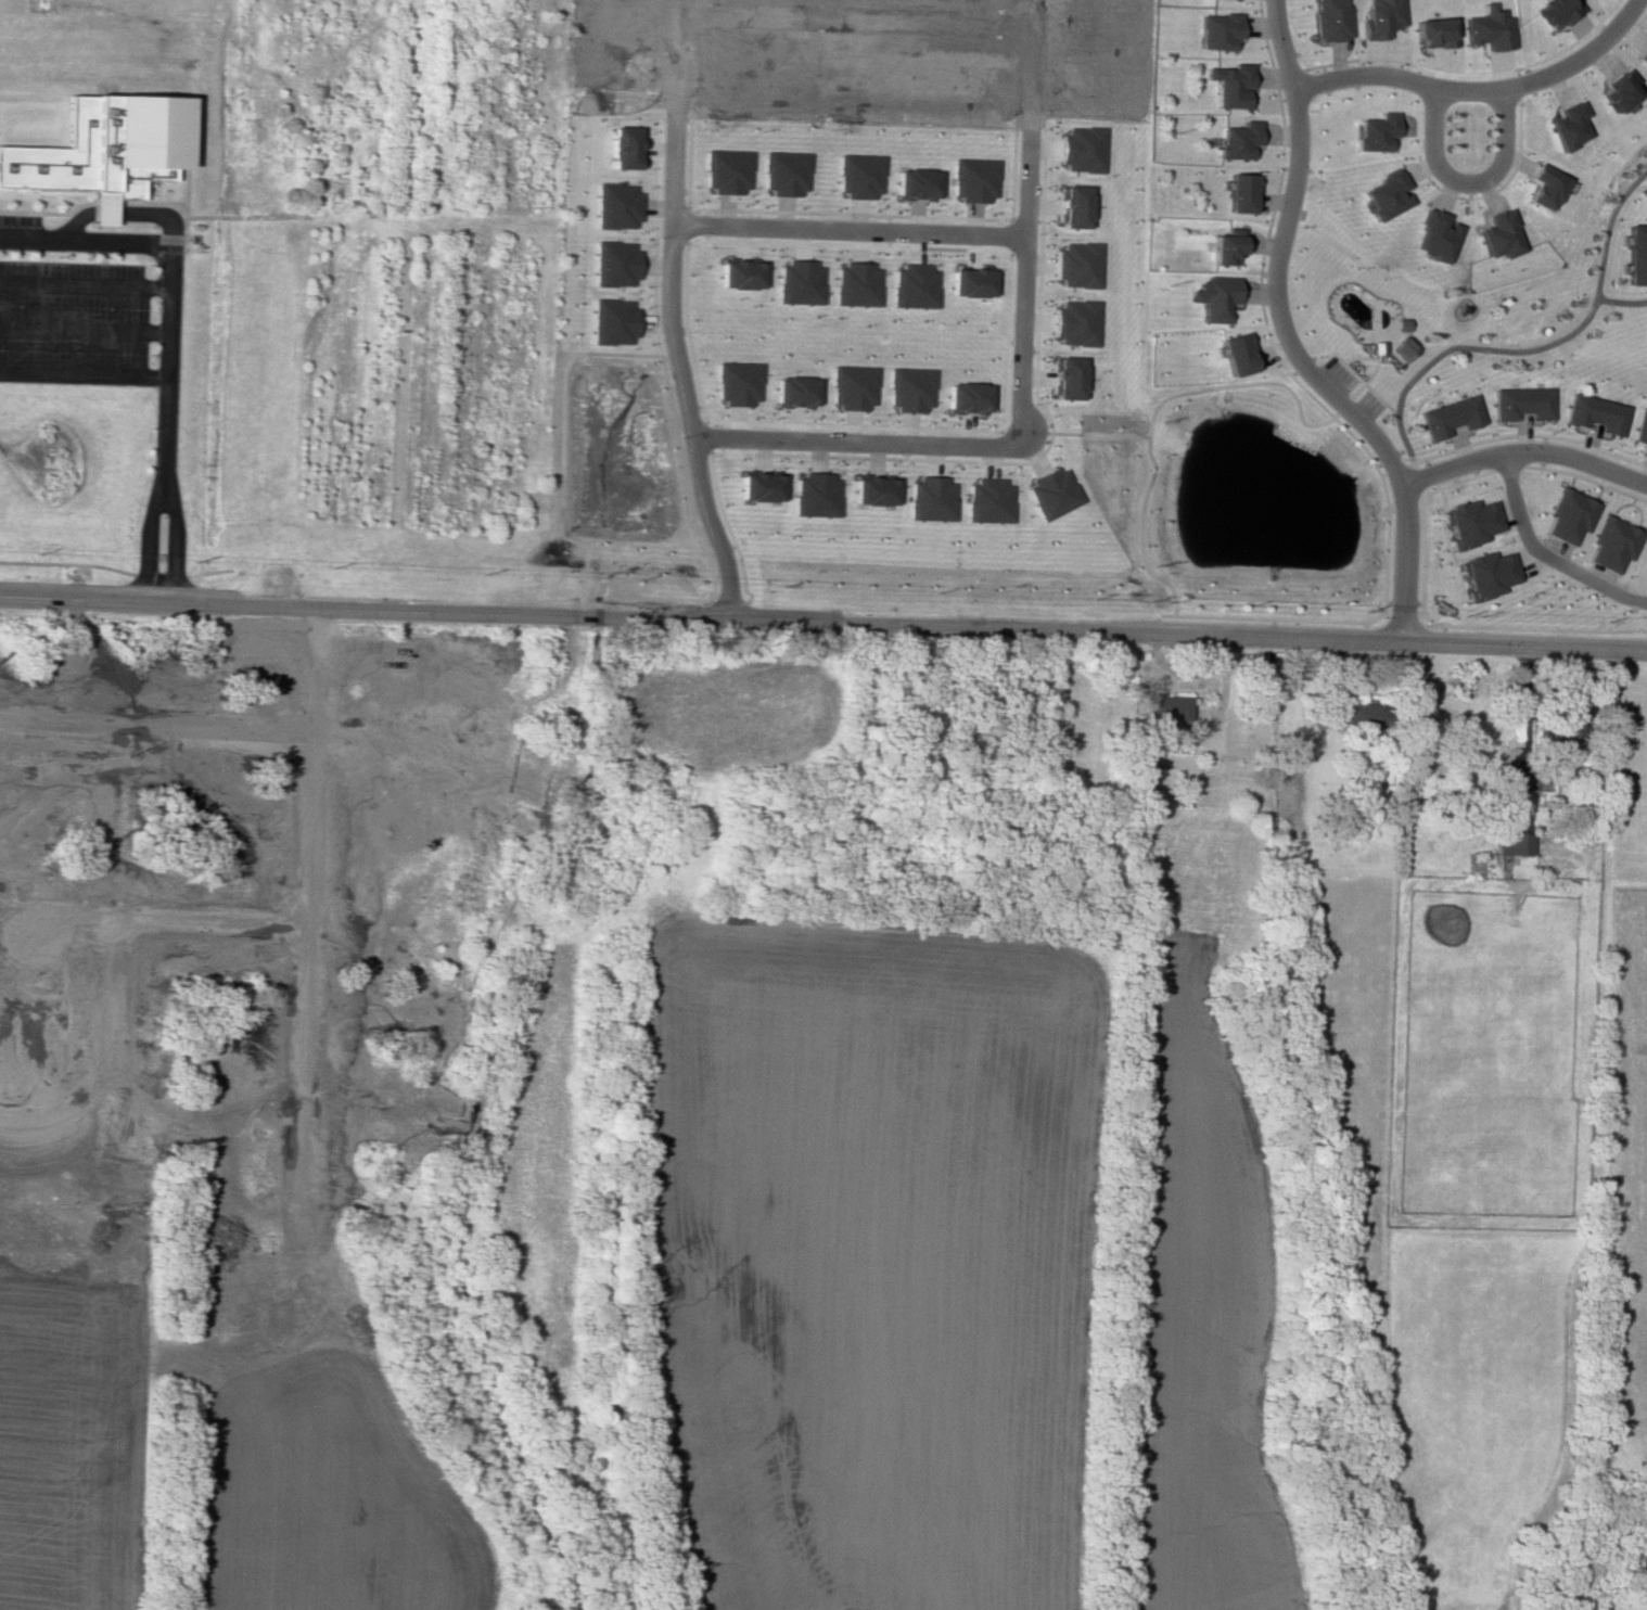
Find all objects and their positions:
building: (1554, 12)
building: (1379, 18)
road: (853, 20)
building: (1330, 20)
building: (1486, 28)
building: (1217, 30)
building: (1432, 33)
building: (1229, 85)
road: (1477, 89)
building: (1567, 125)
building: (1374, 131)
building: (1237, 140)
building: (103, 144)
building: (1081, 149)
building: (725, 170)
building: (782, 174)
building: (857, 175)
building: (972, 179)
road: (1464, 181)
building: (914, 183)
building: (1544, 187)
building: (1644, 190)
building: (1239, 193)
building: (1383, 194)
building: (1072, 206)
road: (117, 214)
road: (1024, 219)
parking lot: (18, 220)
road: (846, 229)
building: (1497, 234)
building: (1432, 235)
road: (84, 242)
building: (1224, 248)
building: (1637, 254)
building: (1076, 265)
building: (737, 274)
building: (797, 282)
building: (969, 282)
building: (855, 284)
road: (84, 285)
building: (911, 285)
building: (1213, 297)
road: (1621, 302)
parking lot: (72, 314)
road: (667, 314)
building: (1074, 322)
building: (1399, 324)
road: (82, 330)
road: (1285, 338)
building: (1375, 346)
building: (1401, 348)
road: (1535, 348)
road: (165, 354)
building: (1236, 354)
road: (1356, 357)
parking lot: (1338, 371)
road: (82, 373)
building: (1067, 378)
road: (1366, 378)
building: (735, 383)
road: (1363, 384)
building: (852, 386)
building: (909, 388)
building: (793, 392)
building: (967, 397)
parking lot: (1368, 401)
building: (1522, 403)
road: (1340, 405)
road: (1154, 413)
building: (1596, 413)
road: (1329, 416)
building: (1450, 417)
building: (1640, 427)
road: (1098, 434)
road: (854, 442)
road: (1523, 451)
building: (872, 490)
building: (1051, 493)
building: (815, 495)
building: (930, 499)
building: (987, 500)
building: (1569, 515)
building: (1471, 522)
road: (144, 531)
road: (173, 532)
building: (1612, 544)
road: (1544, 554)
building: (1488, 574)
road: (469, 612)
road: (1292, 637)
building: (1165, 707)
road: (1524, 723)
building: (1566, 728)
building: (1144, 777)
building: (1515, 832)
crop: (870, 1261)
crop: (1203, 1327)
crop: (71, 1442)
crop: (329, 1500)

